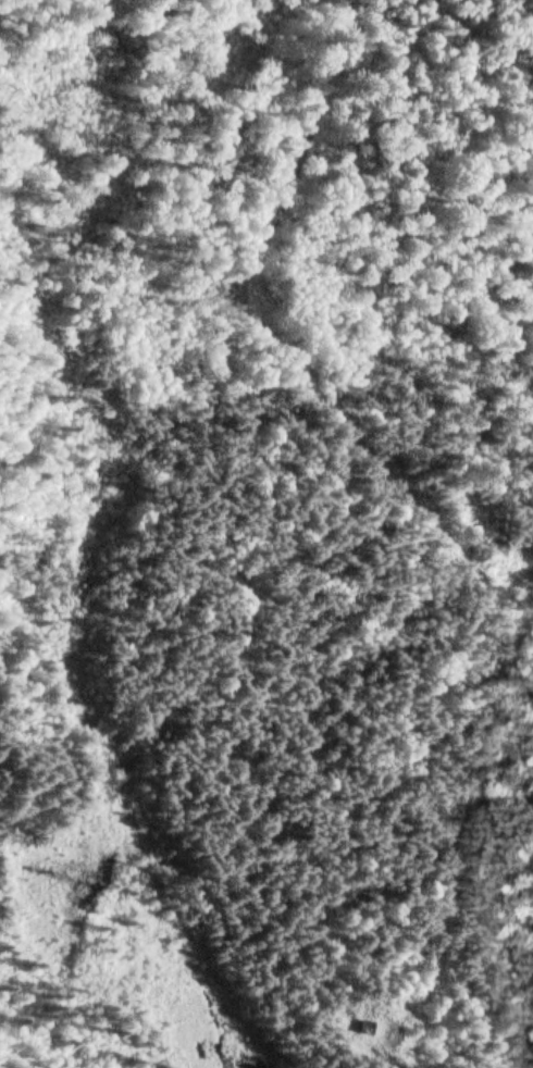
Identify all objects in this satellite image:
building: (360, 1026)

